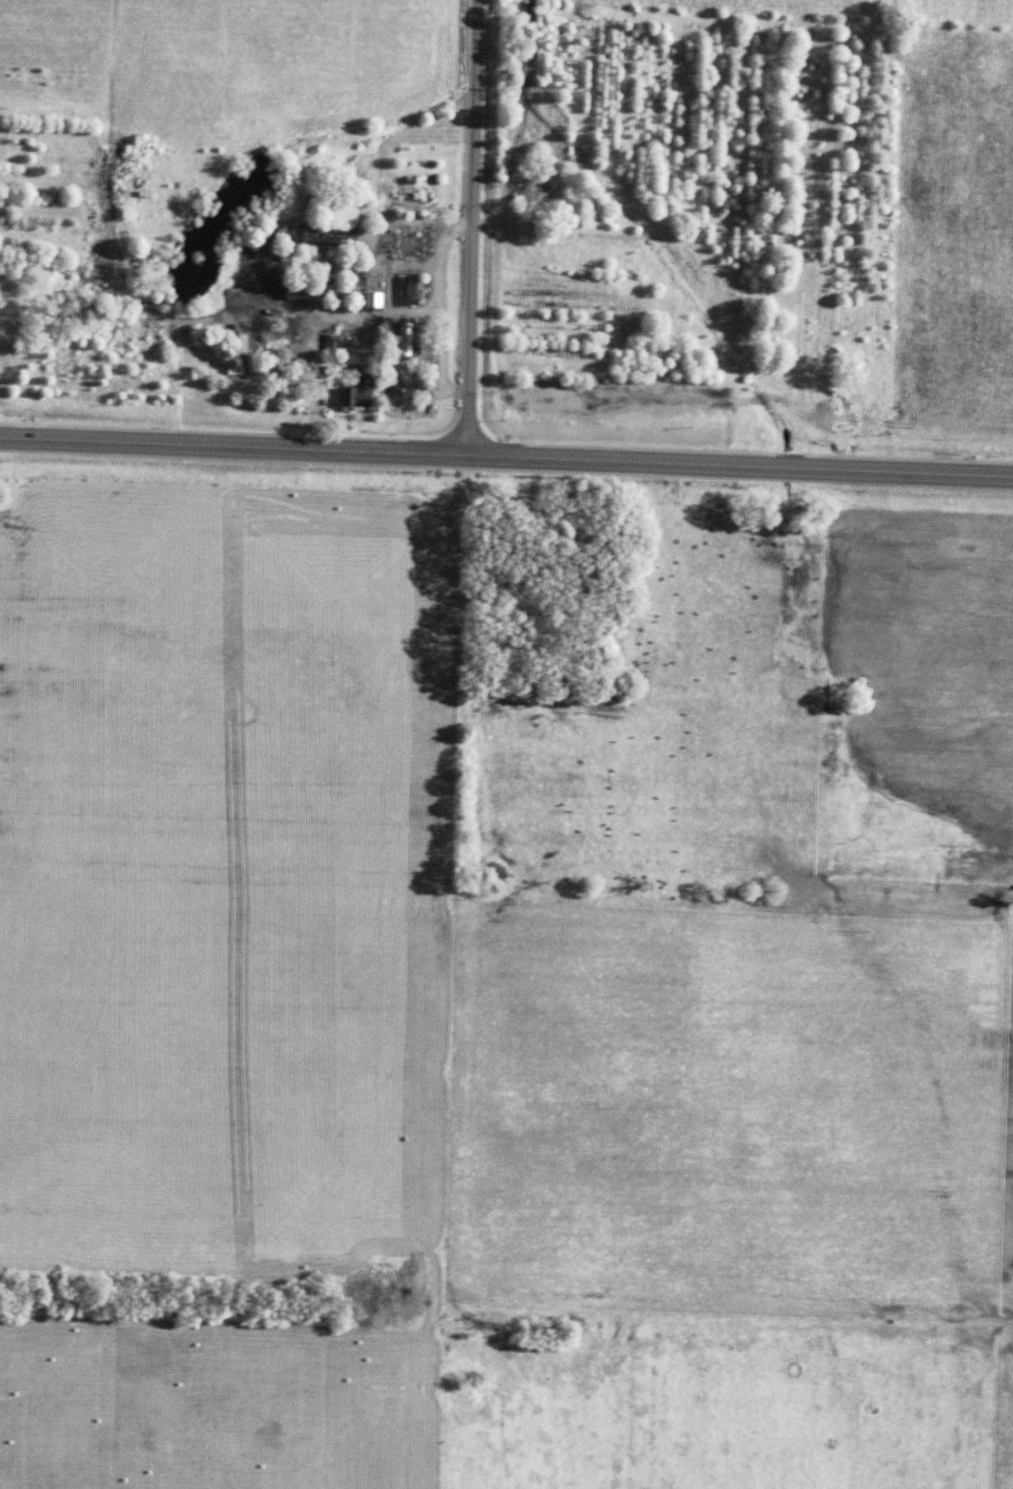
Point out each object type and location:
road: (467, 229)
road: (410, 268)
building: (297, 290)
road: (384, 291)
building: (401, 292)
building: (368, 306)
road: (434, 314)
road: (150, 320)
building: (398, 343)
building: (234, 346)
road: (370, 373)
building: (229, 374)
building: (244, 374)
road: (308, 386)
building: (351, 392)
road: (506, 460)

